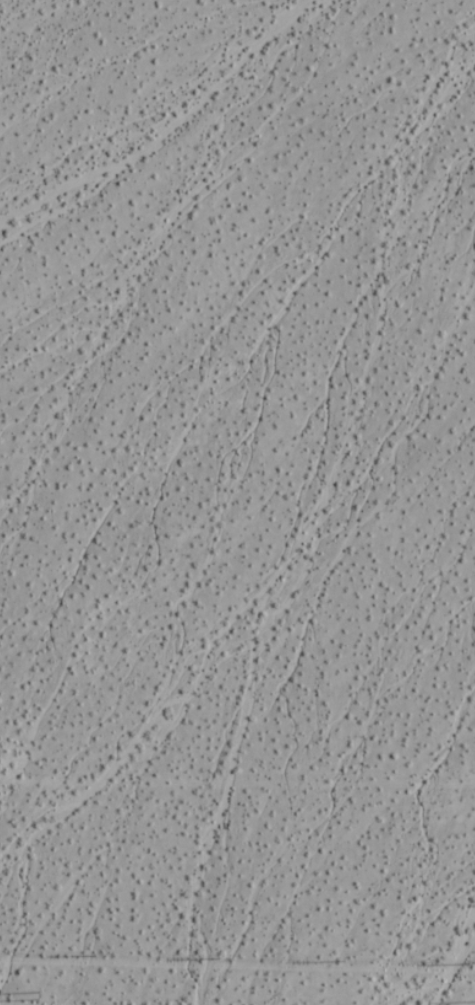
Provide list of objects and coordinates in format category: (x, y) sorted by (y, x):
power tower: (38, 994)

